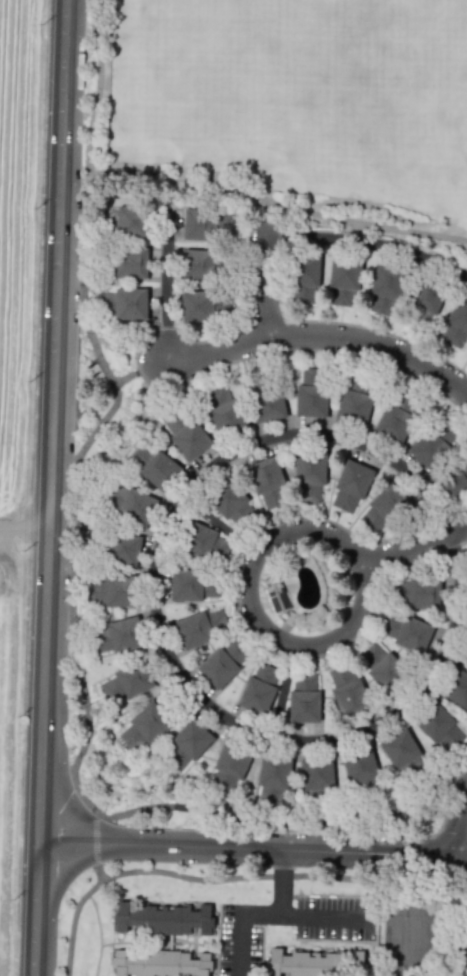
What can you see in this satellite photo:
street lamp: (87, 36)
park: (455, 46)
park: (190, 64)
park: (351, 69)
road: (98, 86)
park: (287, 109)
street lamp: (83, 124)
road: (277, 202)
crop: (11, 216)
building: (126, 221)
building: (206, 223)
road: (367, 242)
building: (124, 262)
building: (206, 264)
building: (303, 276)
building: (344, 278)
road: (264, 285)
road: (166, 287)
building: (386, 287)
building: (424, 301)
building: (124, 303)
building: (205, 304)
building: (457, 323)
road: (323, 334)
street lamp: (77, 358)
road: (139, 372)
building: (312, 393)
building: (268, 396)
building: (357, 399)
building: (224, 410)
building: (398, 416)
road: (51, 420)
building: (186, 434)
building: (434, 443)
building: (154, 466)
building: (309, 476)
building: (268, 481)
building: (455, 481)
building: (351, 485)
building: (231, 503)
building: (131, 504)
building: (384, 508)
road: (23, 528)
building: (203, 542)
road: (412, 544)
building: (116, 547)
street lamp: (266, 560)
street lamp: (70, 569)
street lamp: (349, 570)
building: (193, 585)
building: (113, 590)
building: (417, 591)
building: (277, 597)
road: (5, 605)
road: (246, 611)
building: (201, 627)
street lamp: (290, 631)
building: (407, 631)
building: (118, 636)
crop: (1, 652)
building: (465, 652)
building: (223, 662)
building: (383, 667)
road: (80, 671)
building: (128, 681)
building: (456, 687)
building: (259, 689)
building: (348, 690)
road: (196, 694)
building: (304, 699)
building: (439, 725)
building: (144, 726)
building: (187, 745)
road: (6, 747)
building: (404, 754)
street lamp: (68, 763)
building: (230, 765)
building: (360, 767)
building: (273, 778)
building: (318, 781)
road: (463, 813)
road: (456, 824)
street lamp: (131, 826)
road: (95, 840)
road: (252, 848)
road: (98, 875)
road: (320, 877)
road: (35, 908)
road: (293, 915)
street lamp: (58, 919)
building: (161, 920)
road: (239, 923)
road: (73, 924)
park: (422, 929)
parking lot: (333, 933)
park: (403, 937)
building: (358, 960)
building: (314, 963)
building: (159, 964)

